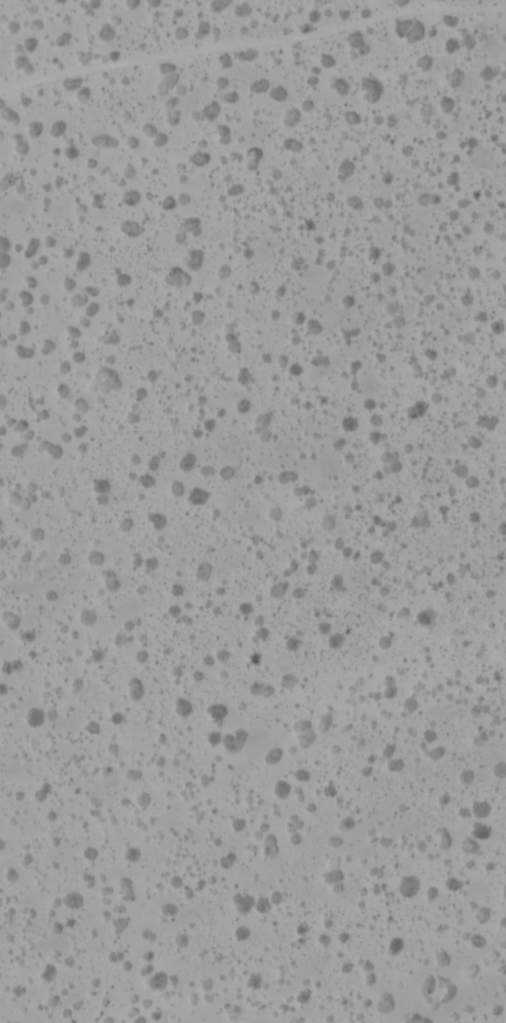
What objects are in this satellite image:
road: (252, 39)

